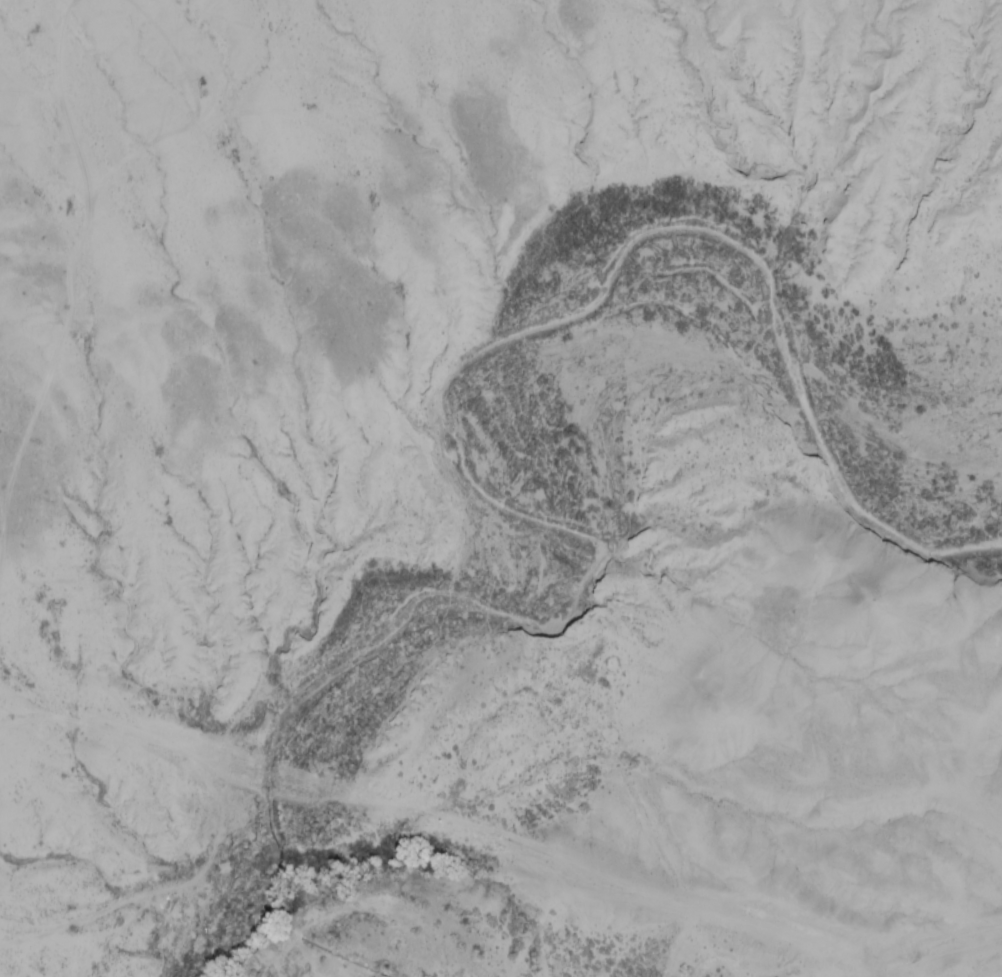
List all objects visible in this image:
river: (496, 458)
road: (109, 904)

